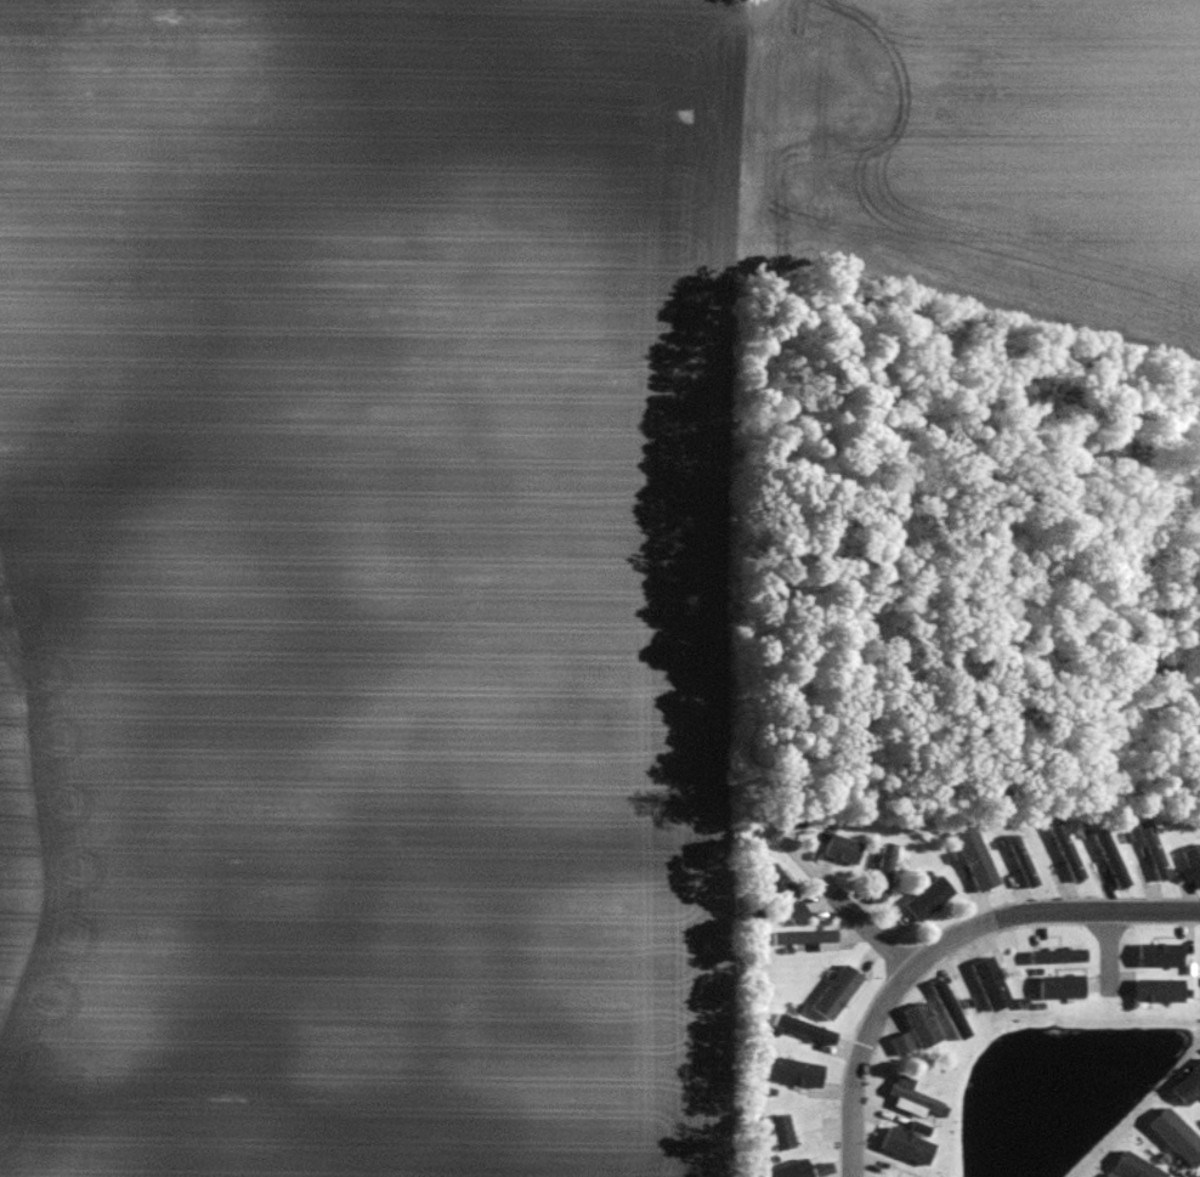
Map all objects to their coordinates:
building: (843, 849)
building: (1154, 849)
building: (1068, 851)
building: (1113, 859)
building: (977, 860)
building: (1023, 862)
building: (1194, 864)
building: (884, 873)
building: (777, 884)
building: (928, 900)
building: (797, 913)
road: (871, 933)
building: (805, 938)
road: (943, 944)
road: (1109, 952)
building: (1160, 956)
building: (991, 984)
building: (1160, 991)
building: (837, 992)
building: (951, 1011)
building: (922, 1026)
building: (902, 1045)
building: (794, 1071)
building: (1189, 1086)
building: (782, 1132)
building: (1178, 1136)
building: (907, 1145)
building: (1136, 1166)
building: (800, 1170)

